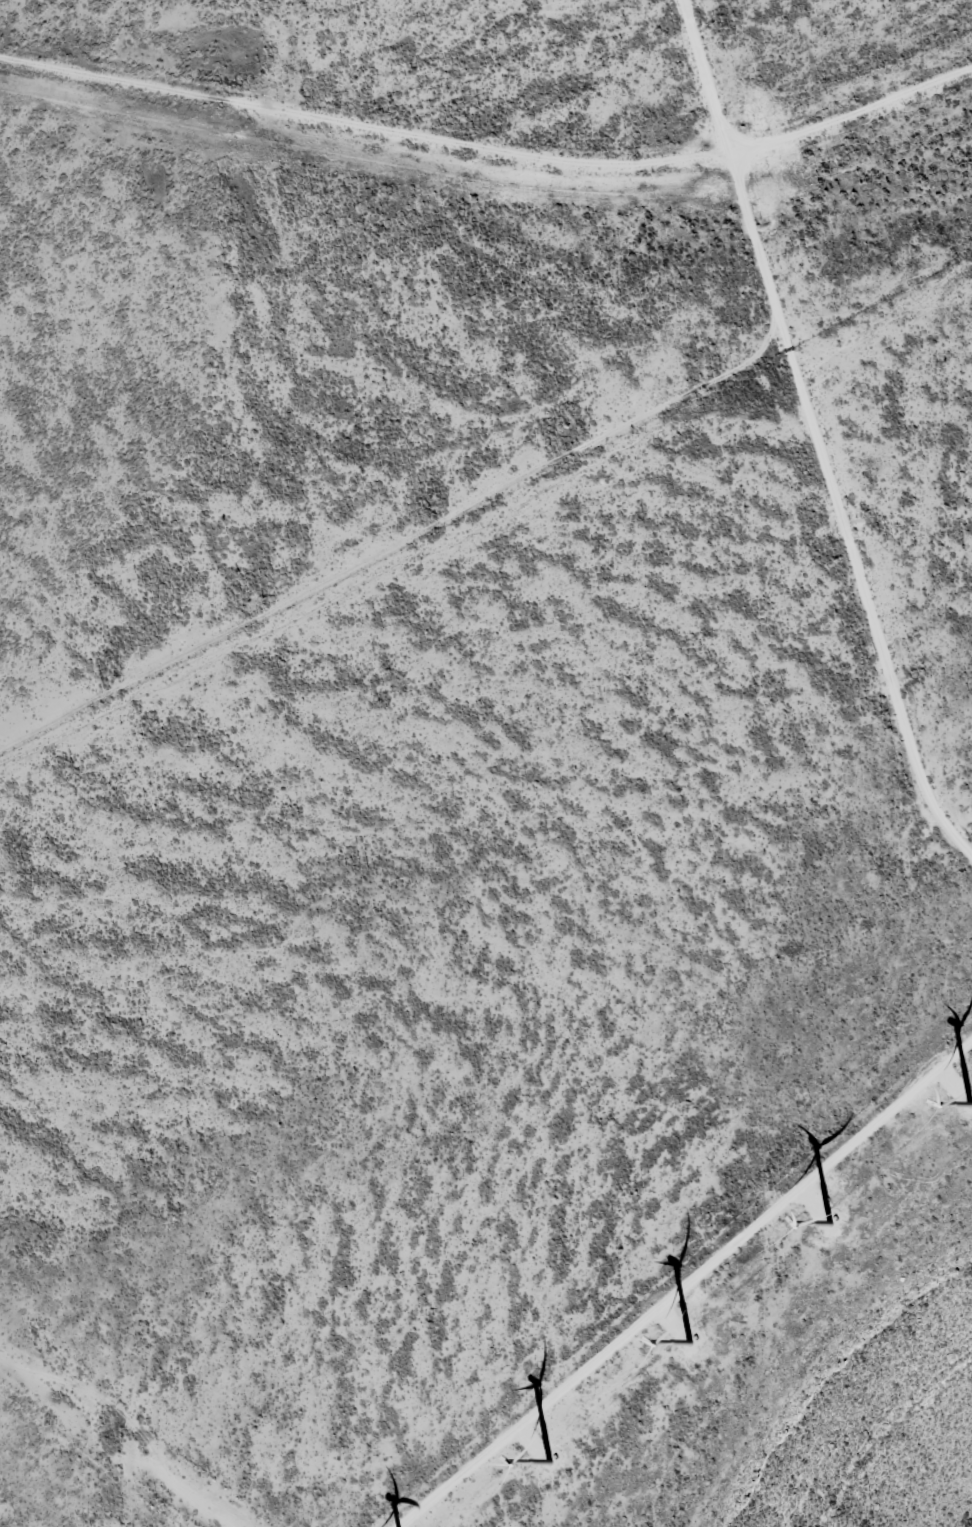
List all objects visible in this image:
wind turbine: (963, 1097)
wind turbine: (827, 1235)
wind turbine: (685, 1341)
wind turbine: (547, 1471)

